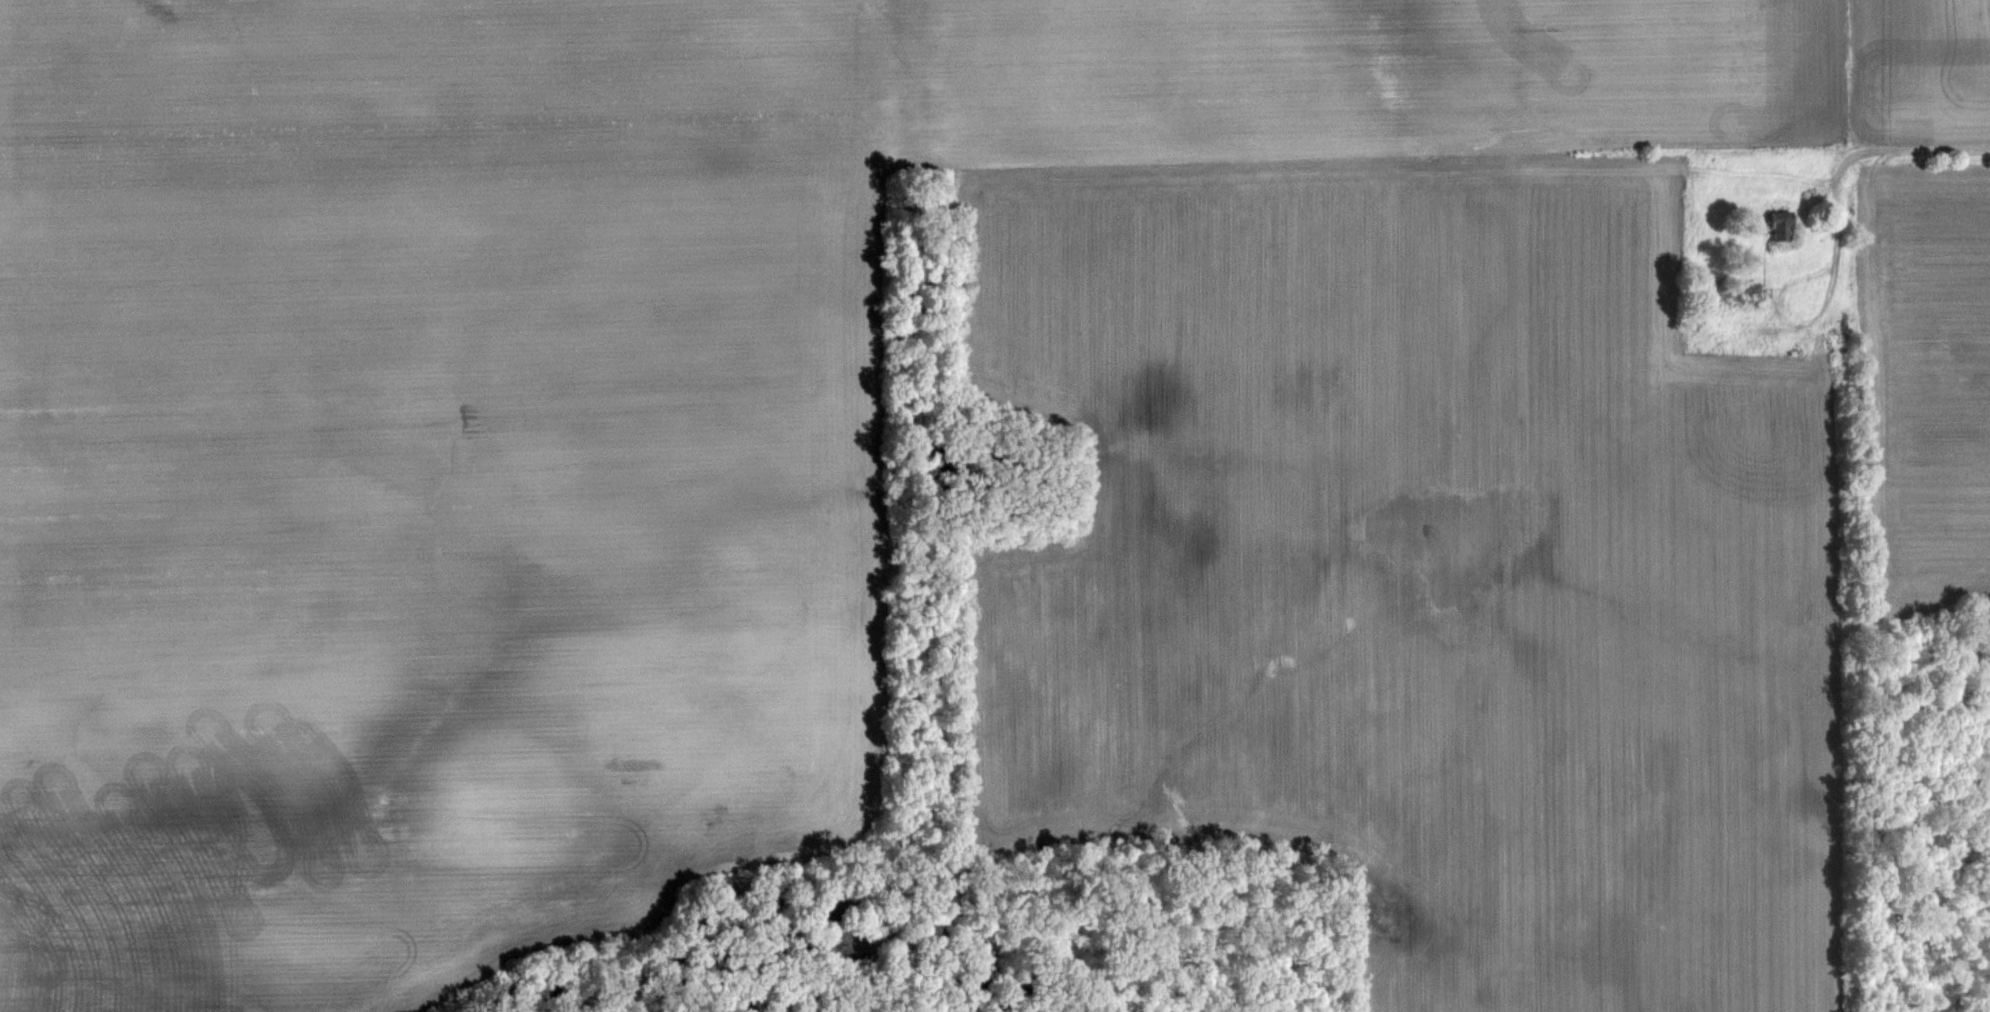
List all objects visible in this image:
building: (1776, 226)

